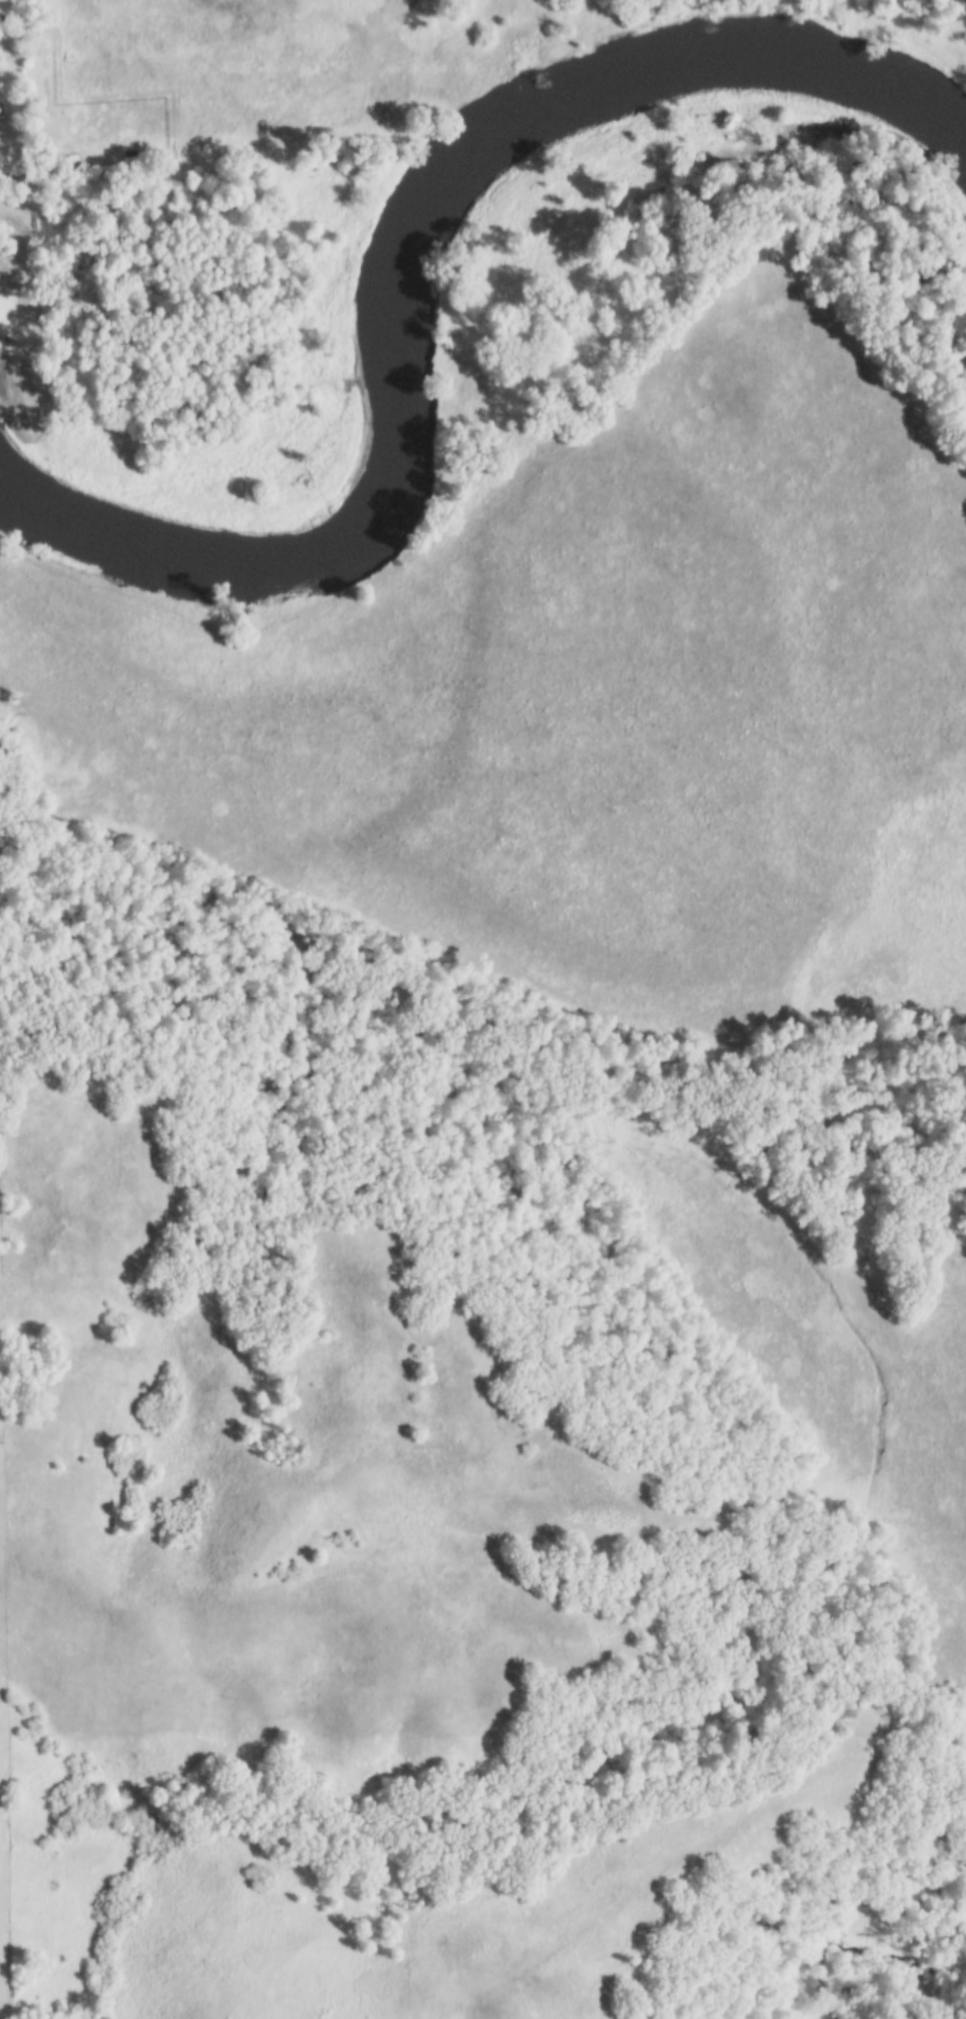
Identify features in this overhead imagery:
river: (404, 234)

